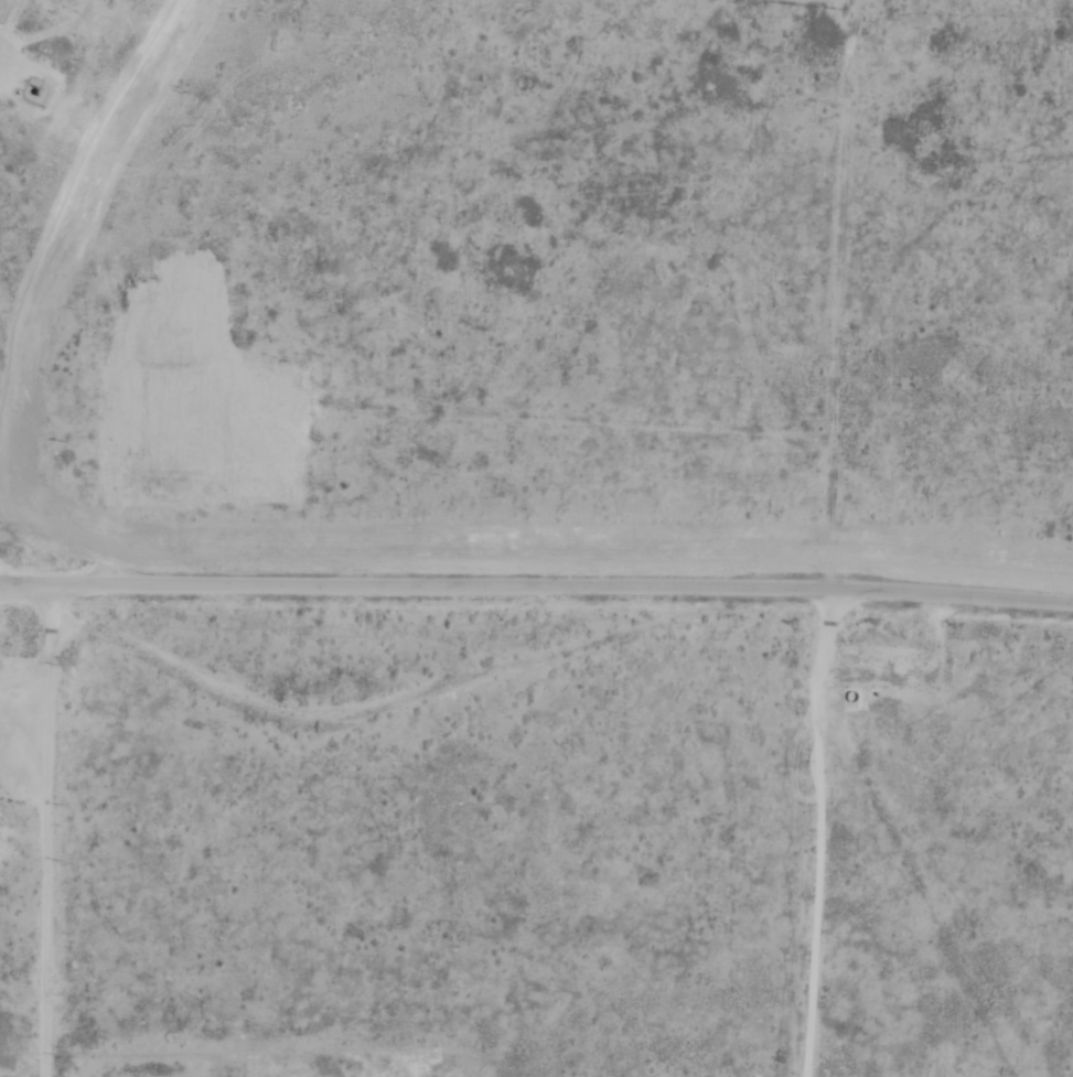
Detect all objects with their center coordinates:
road: (110, 531)
road: (536, 591)
road: (24, 843)

